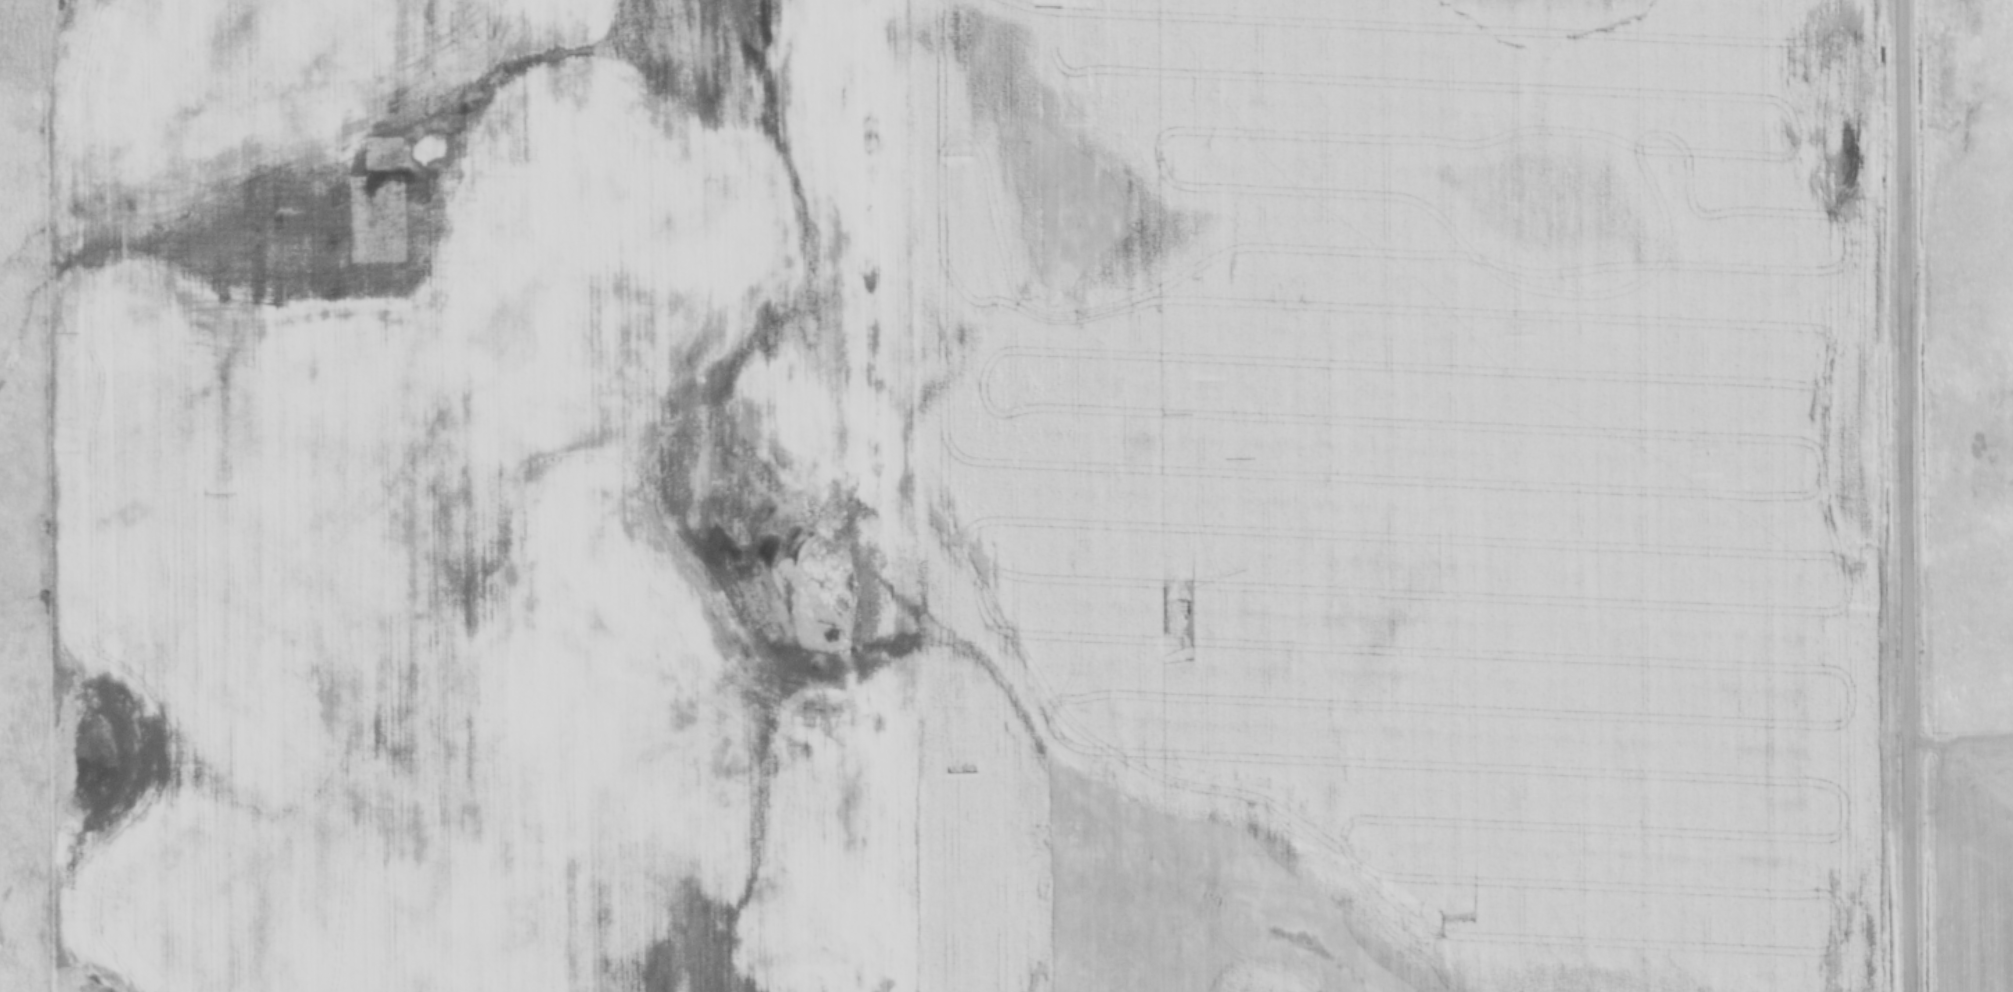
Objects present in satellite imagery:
road: (1909, 496)

